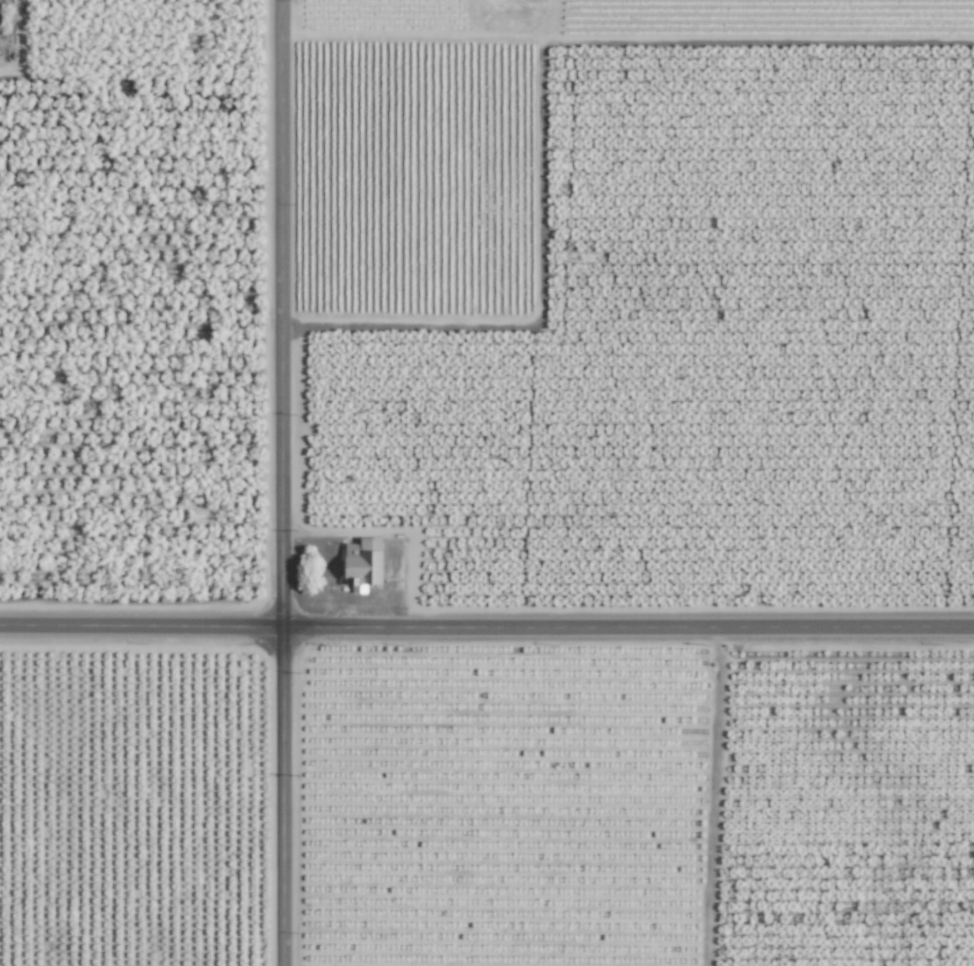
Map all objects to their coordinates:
road: (280, 483)
road: (486, 626)

